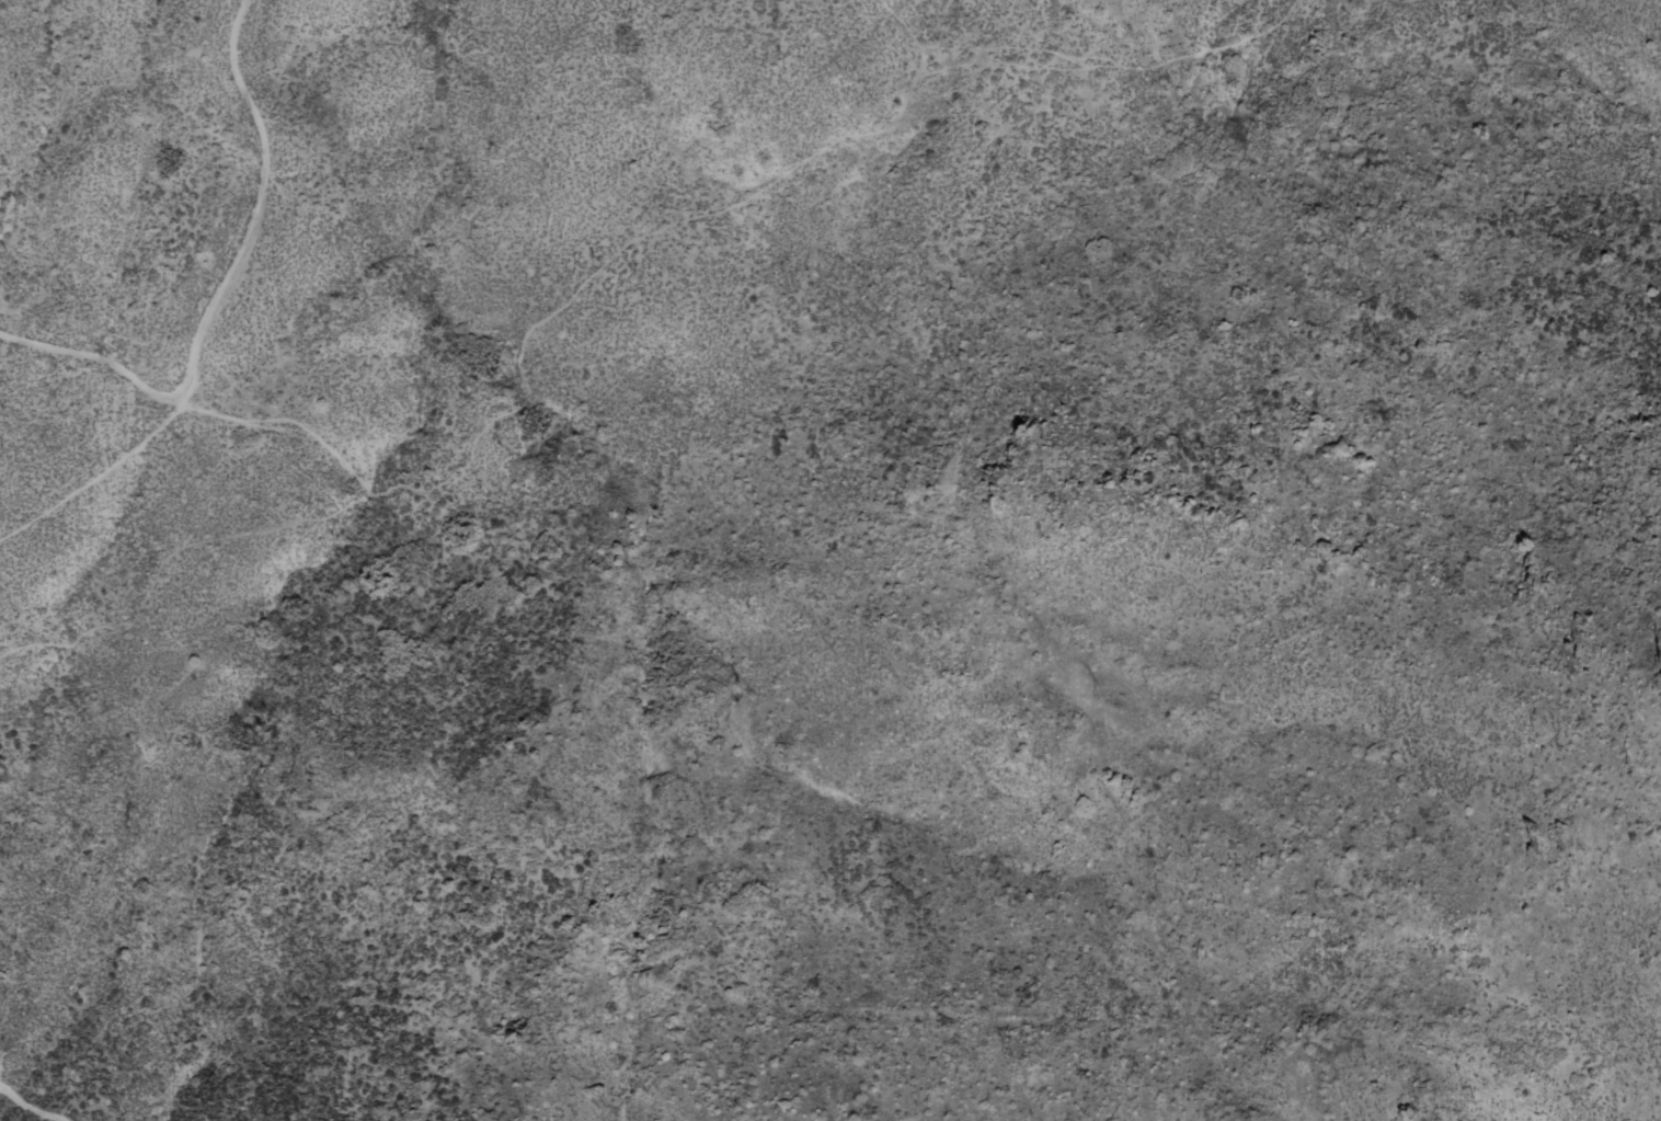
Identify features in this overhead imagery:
road: (30, 1107)

